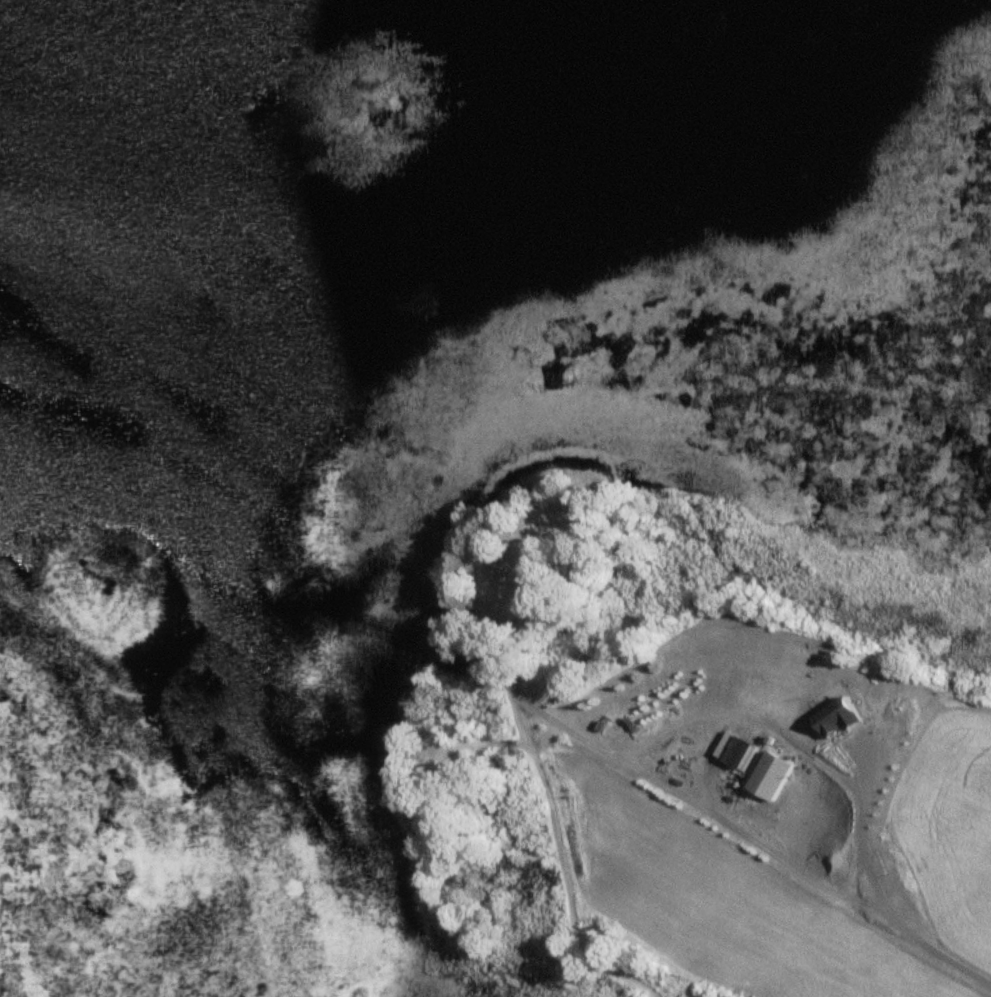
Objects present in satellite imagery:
road: (544, 795)
road: (887, 897)

